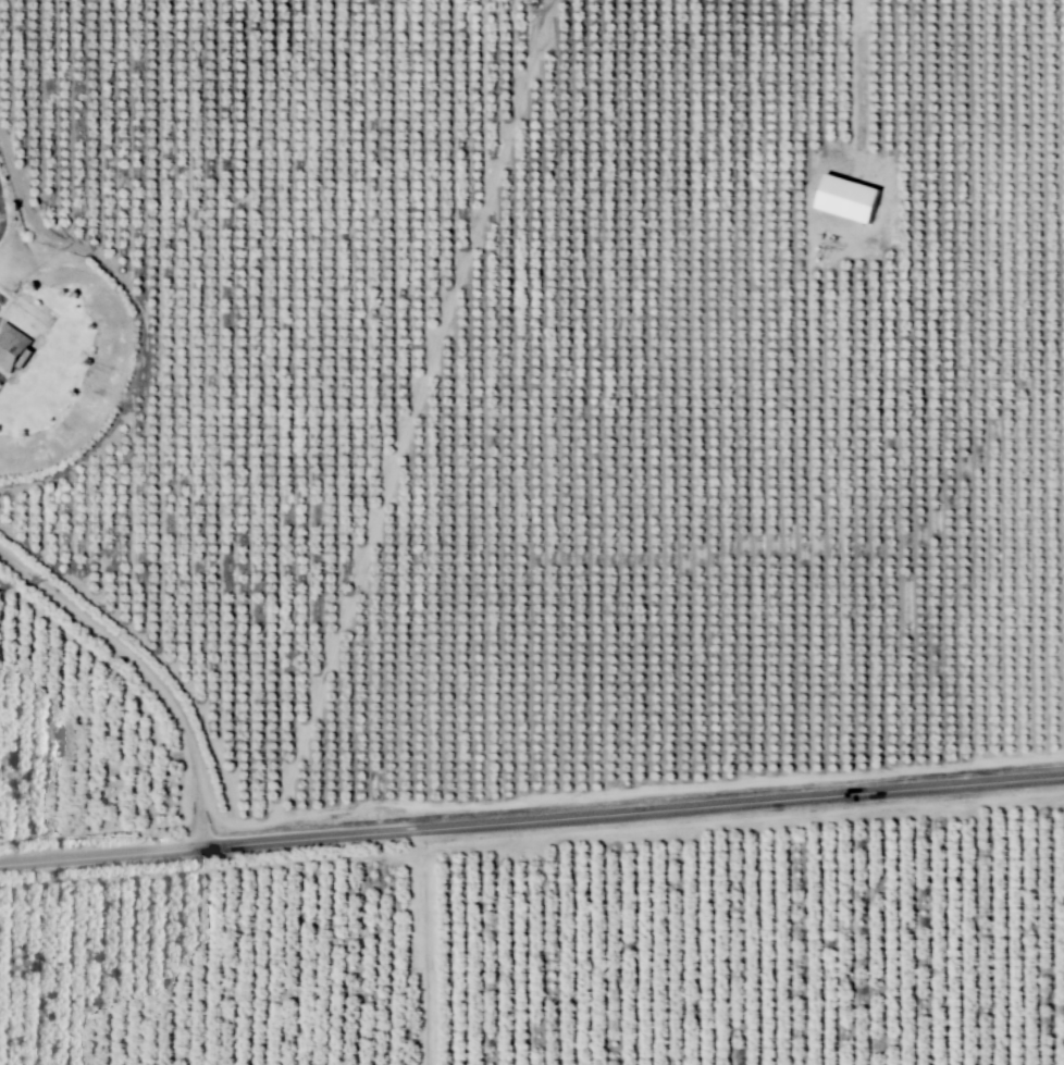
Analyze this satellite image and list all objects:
building: (11, 346)
road: (111, 641)
road: (199, 802)
road: (532, 823)

